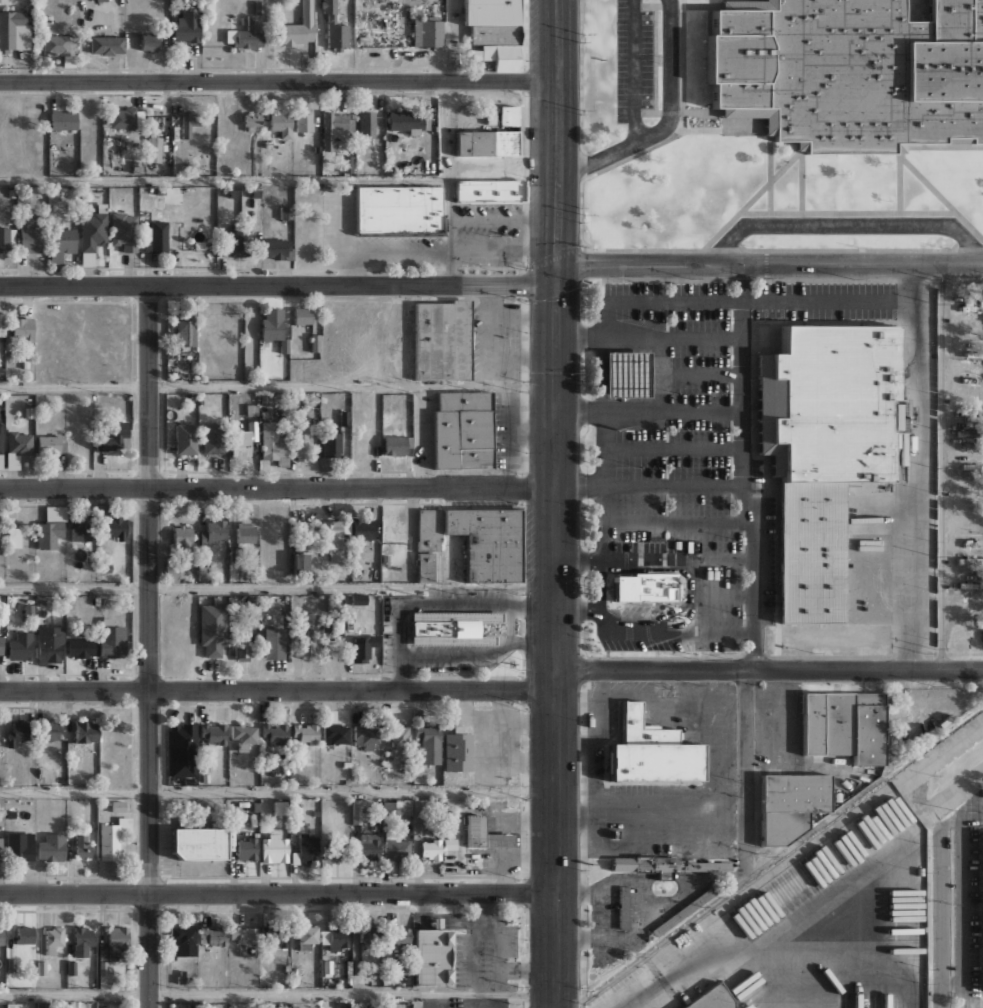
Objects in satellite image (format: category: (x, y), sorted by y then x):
building: (489, 21)
building: (334, 27)
building: (187, 28)
building: (297, 30)
building: (427, 30)
building: (15, 31)
building: (248, 37)
road: (451, 40)
building: (149, 41)
building: (107, 44)
building: (60, 46)
building: (504, 58)
parking lot: (633, 60)
road: (634, 71)
building: (850, 71)
road: (277, 81)
building: (508, 115)
building: (491, 116)
building: (126, 118)
building: (63, 120)
building: (210, 121)
building: (252, 121)
building: (188, 122)
building: (304, 122)
building: (407, 122)
building: (281, 124)
building: (367, 124)
road: (666, 124)
building: (336, 129)
building: (487, 142)
building: (154, 149)
road: (222, 179)
road: (446, 182)
building: (490, 191)
building: (399, 211)
building: (286, 212)
road: (502, 217)
road: (844, 225)
building: (137, 233)
parking lot: (491, 233)
building: (92, 236)
building: (30, 237)
building: (5, 238)
parking lot: (368, 238)
building: (238, 242)
building: (61, 244)
road: (555, 244)
building: (277, 248)
road: (364, 249)
road: (502, 249)
road: (768, 262)
road: (354, 267)
traffic signals: (555, 274)
road: (278, 285)
building: (968, 292)
parking lot: (824, 299)
road: (740, 300)
building: (981, 301)
building: (966, 307)
building: (302, 316)
building: (216, 322)
building: (2, 324)
building: (271, 324)
building: (23, 328)
building: (186, 334)
road: (493, 336)
building: (969, 337)
road: (642, 338)
road: (697, 338)
building: (443, 340)
parking lot: (495, 340)
building: (970, 354)
building: (969, 369)
road: (697, 374)
building: (619, 378)
gas station: (619, 378)
road: (277, 387)
building: (968, 401)
building: (822, 408)
road: (669, 410)
building: (462, 430)
building: (970, 433)
building: (245, 436)
building: (1, 437)
building: (115, 438)
building: (185, 438)
building: (212, 439)
building: (20, 442)
building: (76, 443)
building: (50, 444)
building: (273, 444)
building: (302, 444)
building: (331, 444)
parking lot: (683, 444)
building: (394, 446)
road: (669, 447)
building: (969, 448)
road: (602, 461)
road: (943, 465)
road: (921, 466)
building: (967, 466)
road: (736, 468)
building: (971, 483)
road: (669, 484)
road: (578, 487)
road: (148, 488)
road: (277, 488)
road: (676, 520)
building: (114, 526)
building: (51, 527)
building: (975, 527)
building: (79, 529)
building: (364, 529)
building: (213, 533)
building: (246, 533)
building: (14, 537)
building: (182, 538)
building: (334, 541)
building: (474, 542)
building: (969, 543)
building: (804, 556)
road: (624, 558)
road: (722, 558)
building: (385, 560)
building: (970, 561)
building: (300, 562)
building: (397, 568)
road: (685, 571)
road: (597, 584)
road: (556, 585)
building: (966, 585)
road: (278, 588)
building: (639, 590)
road: (719, 594)
road: (460, 604)
road: (603, 615)
road: (681, 622)
road: (511, 624)
building: (969, 625)
building: (451, 627)
building: (212, 630)
road: (707, 631)
building: (111, 638)
building: (274, 643)
parking lot: (669, 643)
building: (50, 645)
road: (399, 645)
building: (21, 646)
building: (243, 646)
building: (1, 648)
building: (81, 648)
building: (305, 648)
building: (358, 651)
road: (456, 656)
road: (770, 671)
road: (278, 691)
building: (844, 725)
building: (51, 730)
building: (86, 731)
building: (17, 732)
building: (213, 733)
building: (244, 733)
building: (274, 733)
building: (305, 733)
building: (335, 733)
building: (399, 734)
building: (366, 737)
building: (429, 743)
building: (182, 749)
building: (458, 751)
building: (651, 752)
road: (746, 770)
road: (278, 792)
building: (790, 805)
building: (396, 807)
building: (280, 808)
building: (360, 811)
building: (484, 834)
building: (113, 838)
building: (198, 843)
road: (557, 844)
building: (20, 846)
building: (83, 846)
building: (369, 846)
building: (1, 847)
building: (52, 848)
building: (247, 848)
building: (274, 848)
building: (397, 848)
building: (431, 848)
road: (150, 849)
building: (308, 849)
building: (336, 849)
building: (665, 865)
road: (278, 893)
building: (624, 908)
building: (684, 910)
building: (982, 910)
road: (942, 918)
building: (369, 932)
building: (244, 934)
building: (25, 935)
building: (306, 935)
building: (400, 935)
building: (1, 936)
building: (214, 936)
building: (276, 936)
building: (53, 938)
building: (335, 938)
building: (183, 940)
building: (82, 941)
road: (772, 942)
building: (114, 945)
building: (432, 955)
building: (10, 964)
building: (41, 966)
road: (832, 975)
road: (774, 992)
road: (917, 992)
road: (278, 994)
building: (712, 998)
building: (74, 1003)
building: (41, 1004)
building: (191, 1004)
building: (13, 1005)
road: (554, 1005)
building: (106, 1006)

